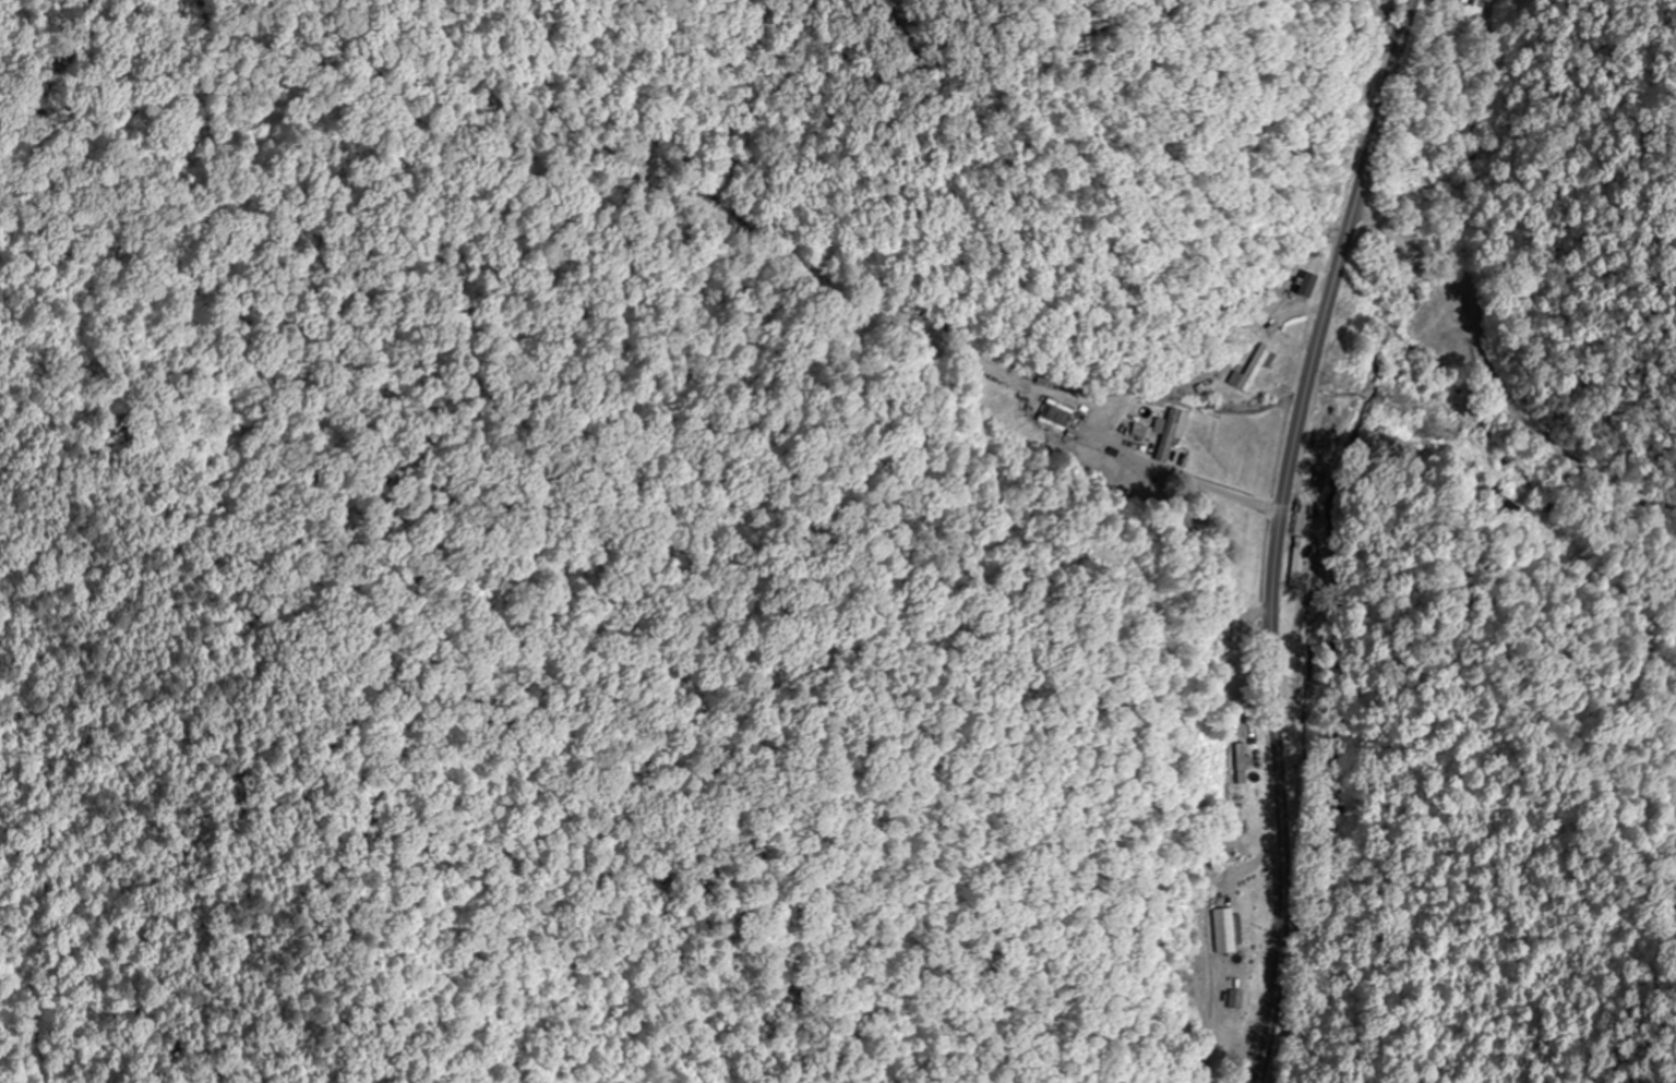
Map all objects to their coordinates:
road: (1439, 357)
building: (1260, 366)
building: (1148, 431)
building: (1176, 433)
road: (1281, 533)
road: (1158, 618)
building: (1245, 762)
building: (1230, 930)

